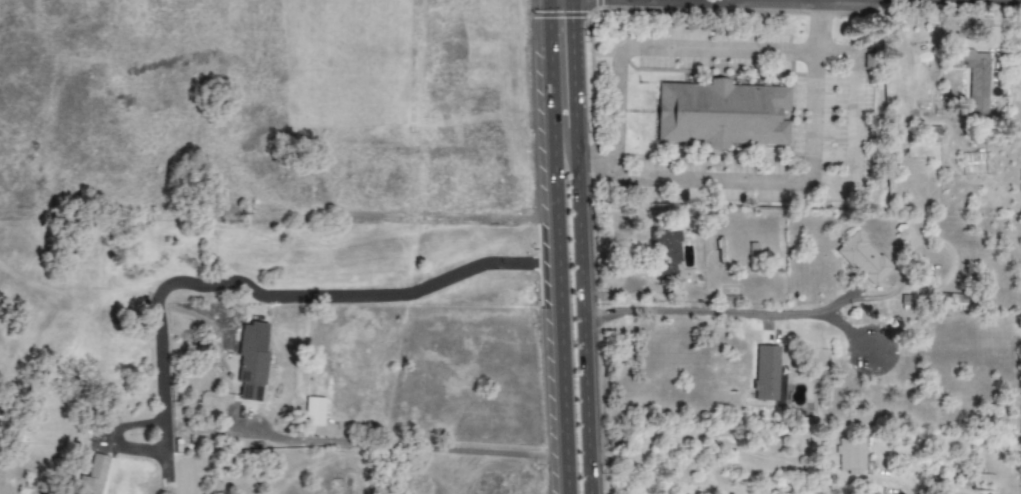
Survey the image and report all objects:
road: (919, 3)
traffic signals: (579, 28)
road: (580, 63)
road: (817, 66)
building: (973, 78)
road: (858, 94)
building: (721, 114)
road: (554, 246)
building: (665, 251)
building: (863, 259)
building: (950, 302)
road: (590, 310)
road: (718, 311)
building: (251, 361)
building: (765, 373)
building: (313, 412)
road: (173, 427)
road: (396, 444)
road: (749, 450)
building: (851, 455)
building: (91, 476)

